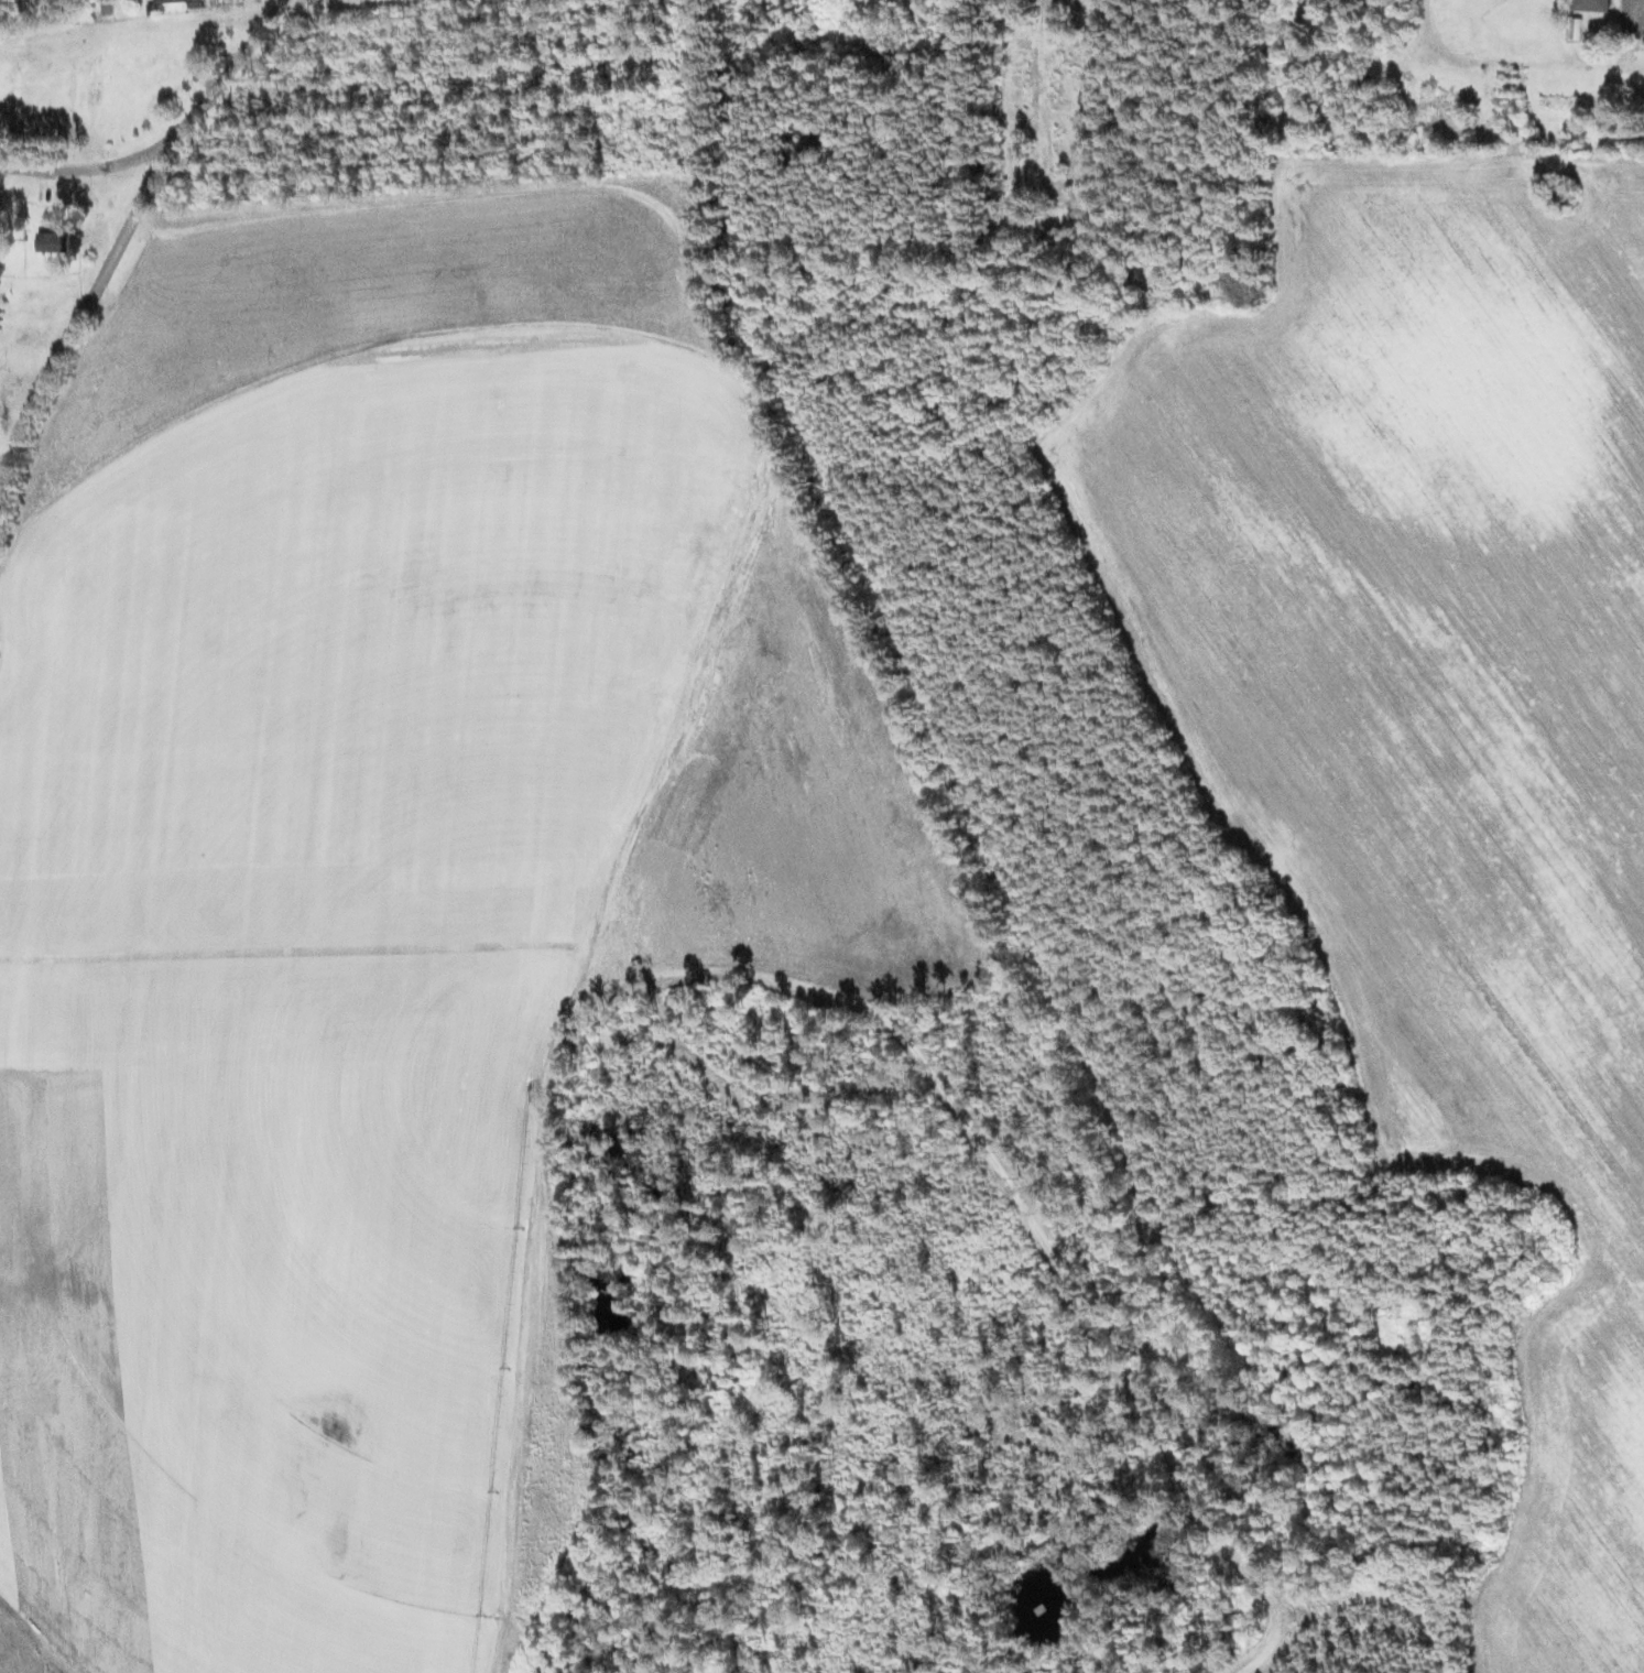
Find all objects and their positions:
building: (1593, 4)
building: (108, 7)
road: (81, 170)
road: (122, 240)
building: (54, 241)

